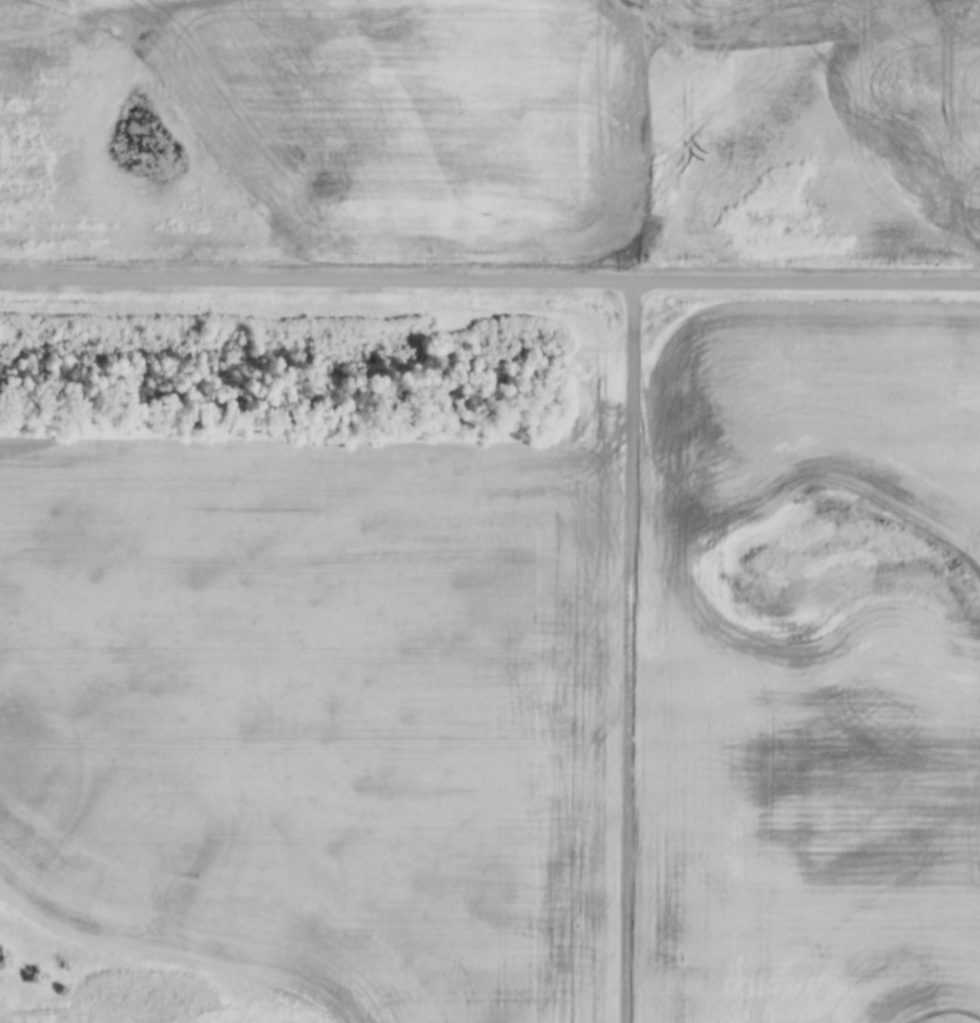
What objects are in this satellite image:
road: (490, 279)
road: (627, 651)

